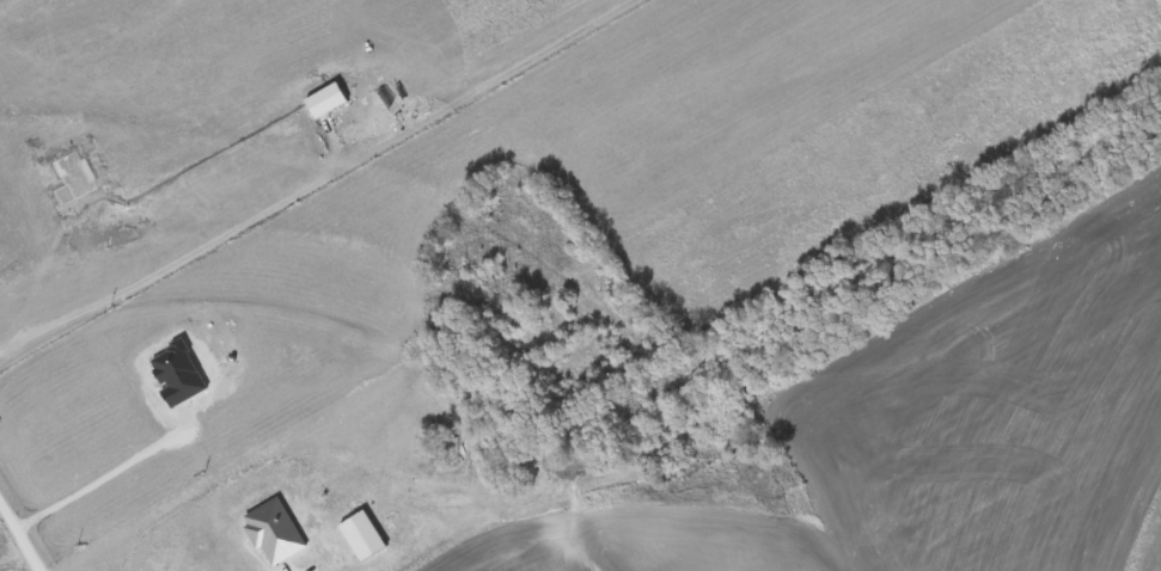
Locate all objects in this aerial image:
road: (188, 244)
road: (106, 474)
road: (25, 527)

